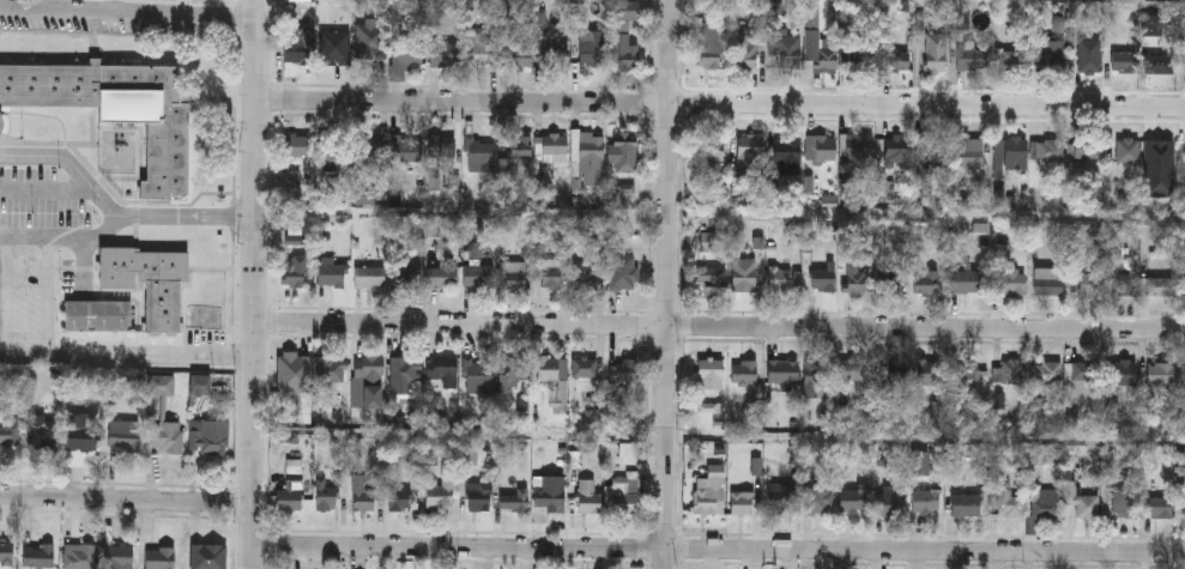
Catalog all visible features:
road: (131, 12)
building: (960, 18)
building: (370, 41)
building: (711, 42)
building: (297, 46)
building: (333, 47)
building: (477, 48)
building: (623, 48)
building: (592, 49)
building: (818, 52)
building: (407, 53)
building: (746, 53)
building: (786, 53)
building: (443, 54)
building: (859, 54)
building: (935, 54)
building: (1048, 55)
building: (520, 56)
building: (1088, 56)
building: (893, 59)
building: (971, 59)
building: (555, 60)
building: (1012, 60)
building: (1124, 61)
building: (1157, 63)
road: (723, 102)
building: (116, 107)
building: (0, 121)
building: (554, 144)
building: (297, 145)
building: (623, 145)
building: (369, 147)
building: (821, 147)
building: (897, 147)
building: (335, 149)
building: (407, 149)
building: (707, 149)
building: (858, 149)
building: (1051, 149)
building: (1087, 149)
building: (441, 150)
building: (749, 150)
building: (1126, 150)
building: (966, 151)
building: (587, 152)
building: (1009, 152)
building: (479, 155)
building: (786, 156)
building: (932, 157)
building: (1161, 158)
road: (110, 210)
road: (187, 214)
building: (711, 241)
building: (295, 271)
building: (329, 272)
building: (548, 272)
building: (403, 274)
building: (585, 274)
building: (440, 276)
building: (478, 276)
building: (512, 276)
building: (743, 276)
building: (368, 277)
building: (624, 277)
building: (778, 278)
building: (822, 278)
building: (712, 279)
building: (149, 280)
building: (854, 280)
building: (888, 280)
building: (926, 280)
building: (965, 280)
building: (1010, 280)
building: (1046, 280)
road: (256, 284)
road: (666, 284)
building: (1089, 284)
building: (1124, 284)
building: (1159, 285)
road: (8, 296)
road: (47, 296)
building: (98, 315)
road: (720, 325)
road: (132, 356)
building: (289, 365)
building: (370, 367)
building: (585, 367)
building: (441, 368)
building: (551, 368)
building: (851, 369)
building: (512, 370)
building: (623, 370)
building: (925, 370)
building: (1011, 371)
building: (1047, 371)
building: (1082, 371)
building: (1123, 371)
building: (329, 373)
building: (478, 373)
building: (782, 373)
building: (1159, 373)
building: (404, 374)
building: (709, 374)
building: (744, 374)
building: (888, 374)
building: (816, 376)
building: (1183, 376)
building: (966, 377)
building: (200, 385)
building: (42, 431)
building: (125, 434)
building: (10, 435)
building: (168, 436)
building: (210, 436)
building: (80, 438)
building: (919, 461)
building: (291, 489)
building: (440, 491)
building: (550, 492)
building: (326, 494)
building: (361, 495)
building: (398, 496)
building: (478, 496)
building: (588, 496)
building: (623, 496)
building: (780, 497)
road: (126, 498)
building: (514, 500)
building: (706, 500)
building: (925, 501)
building: (1008, 501)
building: (1081, 501)
building: (817, 502)
building: (852, 502)
building: (740, 503)
building: (1044, 503)
building: (889, 504)
building: (965, 504)
building: (1124, 504)
building: (1157, 507)
building: (1184, 509)
road: (718, 549)
building: (6, 552)
building: (38, 555)
building: (117, 556)
building: (80, 557)
building: (161, 558)
building: (210, 558)

